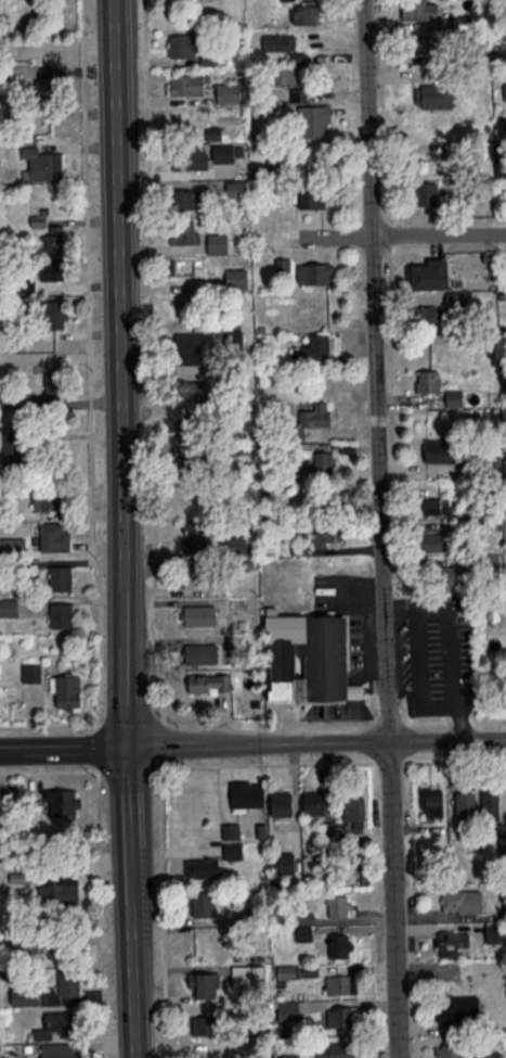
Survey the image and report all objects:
building: (419, 9)
building: (306, 13)
building: (280, 43)
building: (434, 43)
building: (182, 44)
building: (287, 75)
building: (185, 85)
building: (46, 88)
building: (434, 95)
building: (314, 120)
building: (223, 153)
building: (195, 160)
building: (44, 163)
building: (426, 193)
building: (312, 196)
building: (183, 199)
building: (184, 232)
road: (444, 235)
road: (335, 238)
building: (54, 239)
building: (218, 242)
building: (283, 265)
building: (189, 267)
building: (53, 270)
building: (314, 272)
building: (429, 275)
building: (237, 278)
building: (429, 313)
building: (55, 314)
building: (189, 347)
road: (152, 349)
building: (317, 349)
road: (122, 373)
building: (428, 381)
building: (190, 391)
building: (54, 393)
road: (90, 410)
building: (312, 418)
building: (190, 424)
building: (440, 450)
building: (191, 466)
building: (317, 467)
building: (47, 500)
building: (434, 505)
road: (388, 528)
building: (325, 531)
building: (54, 536)
building: (195, 536)
building: (434, 541)
building: (12, 545)
building: (193, 576)
building: (454, 576)
building: (61, 577)
building: (8, 607)
building: (62, 614)
building: (199, 615)
building: (205, 653)
building: (309, 658)
building: (31, 672)
building: (211, 684)
building: (67, 690)
road: (316, 742)
road: (89, 747)
road: (64, 749)
road: (455, 760)
road: (389, 762)
building: (247, 794)
building: (63, 802)
building: (314, 802)
building: (431, 802)
building: (282, 803)
building: (465, 803)
building: (490, 804)
road: (160, 806)
building: (354, 812)
building: (231, 830)
building: (233, 850)
building: (285, 863)
building: (199, 867)
road: (103, 869)
building: (59, 892)
building: (462, 901)
road: (132, 902)
building: (203, 903)
building: (339, 905)
building: (495, 932)
building: (452, 943)
building: (340, 945)
building: (289, 971)
building: (249, 977)
building: (68, 983)
building: (202, 984)
building: (340, 984)
building: (25, 995)
building: (455, 1008)
building: (288, 1010)
building: (341, 1016)
building: (57, 1024)
building: (203, 1025)
building: (337, 1049)
building: (60, 1050)
building: (451, 1050)

